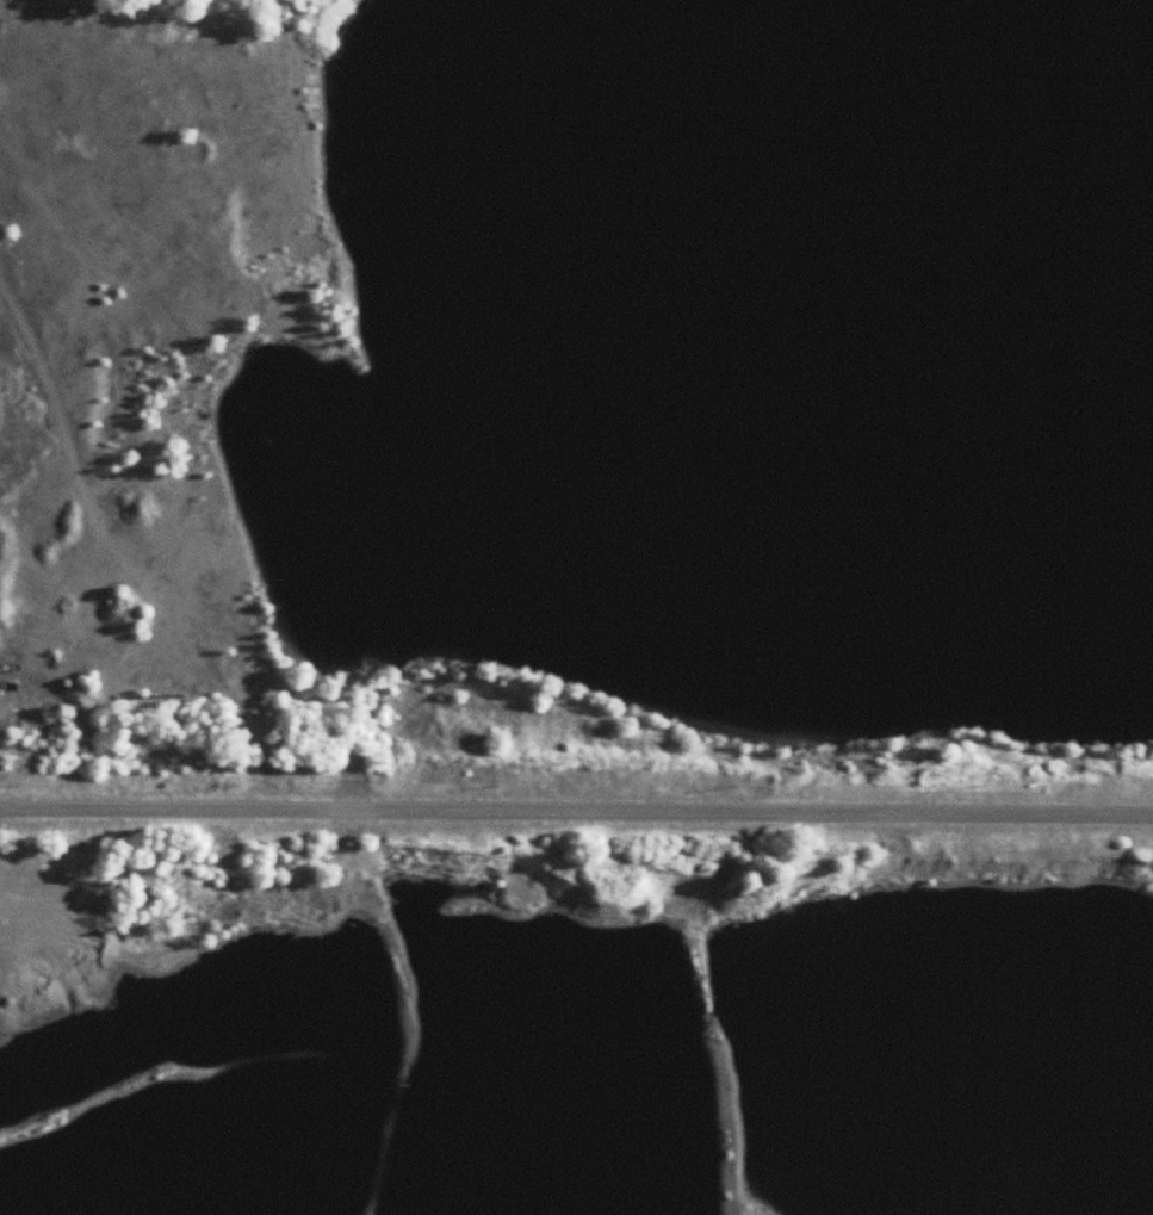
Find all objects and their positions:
road: (576, 818)

